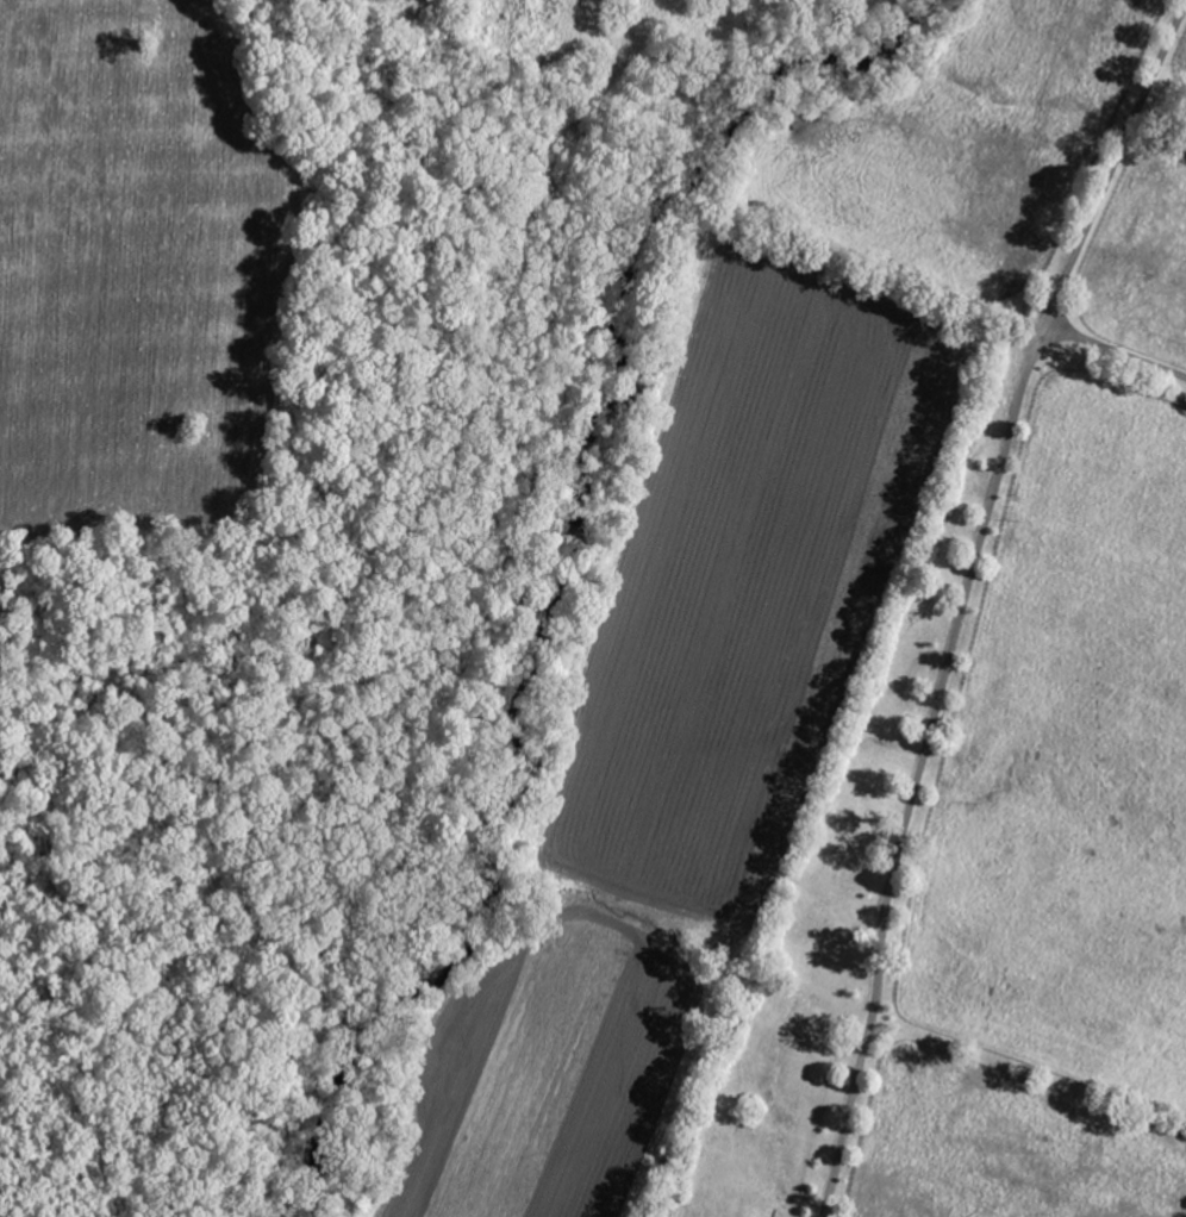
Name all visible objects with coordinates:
road: (1116, 351)
road: (963, 598)

